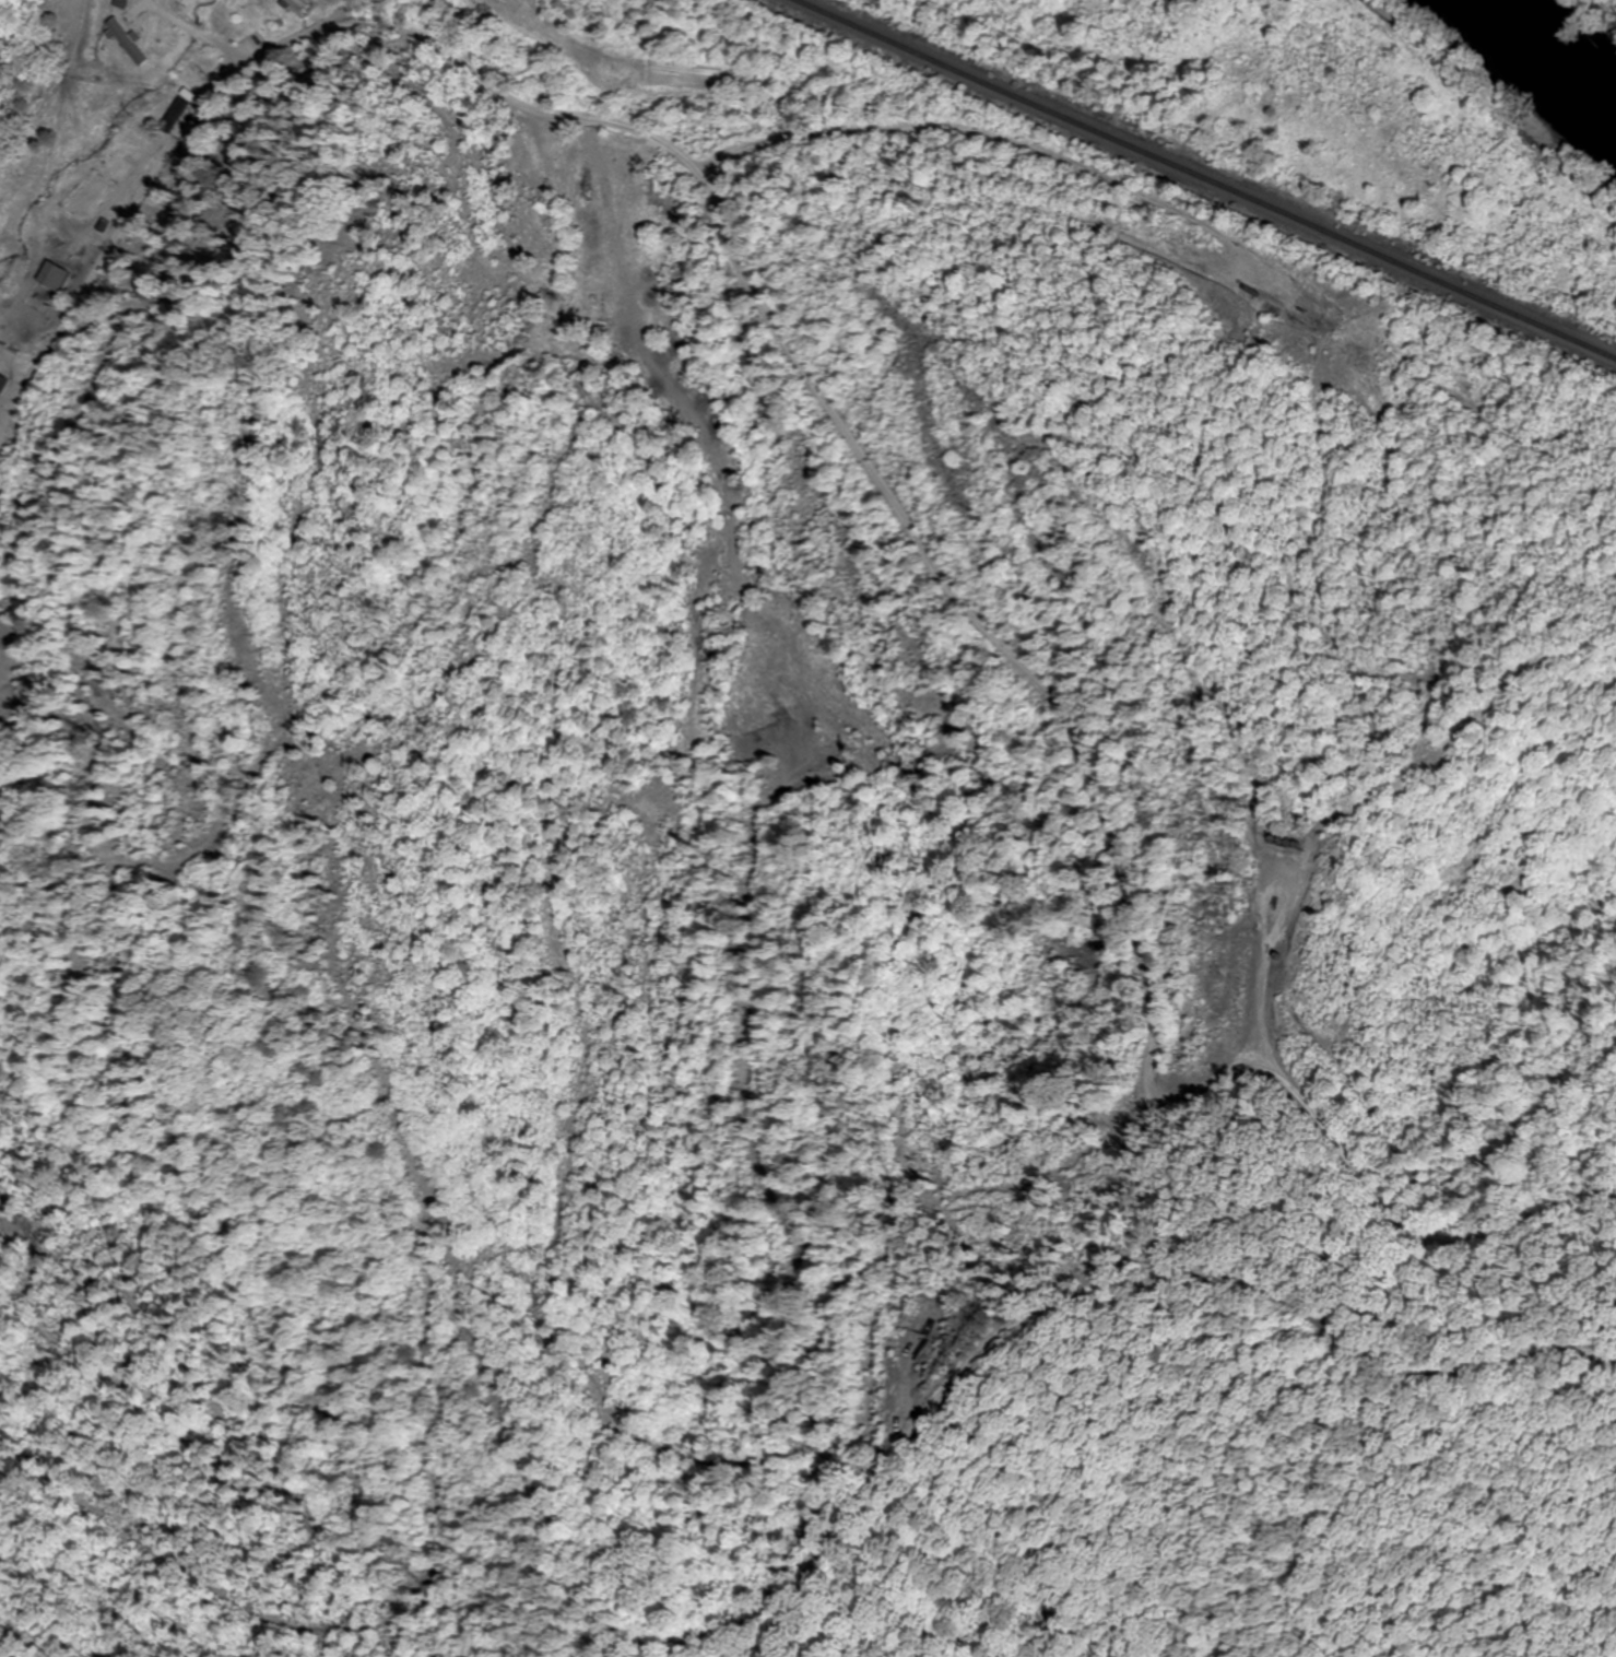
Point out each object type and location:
river: (1549, 44)
railway: (1207, 180)
road: (990, 638)
road: (1093, 1286)

